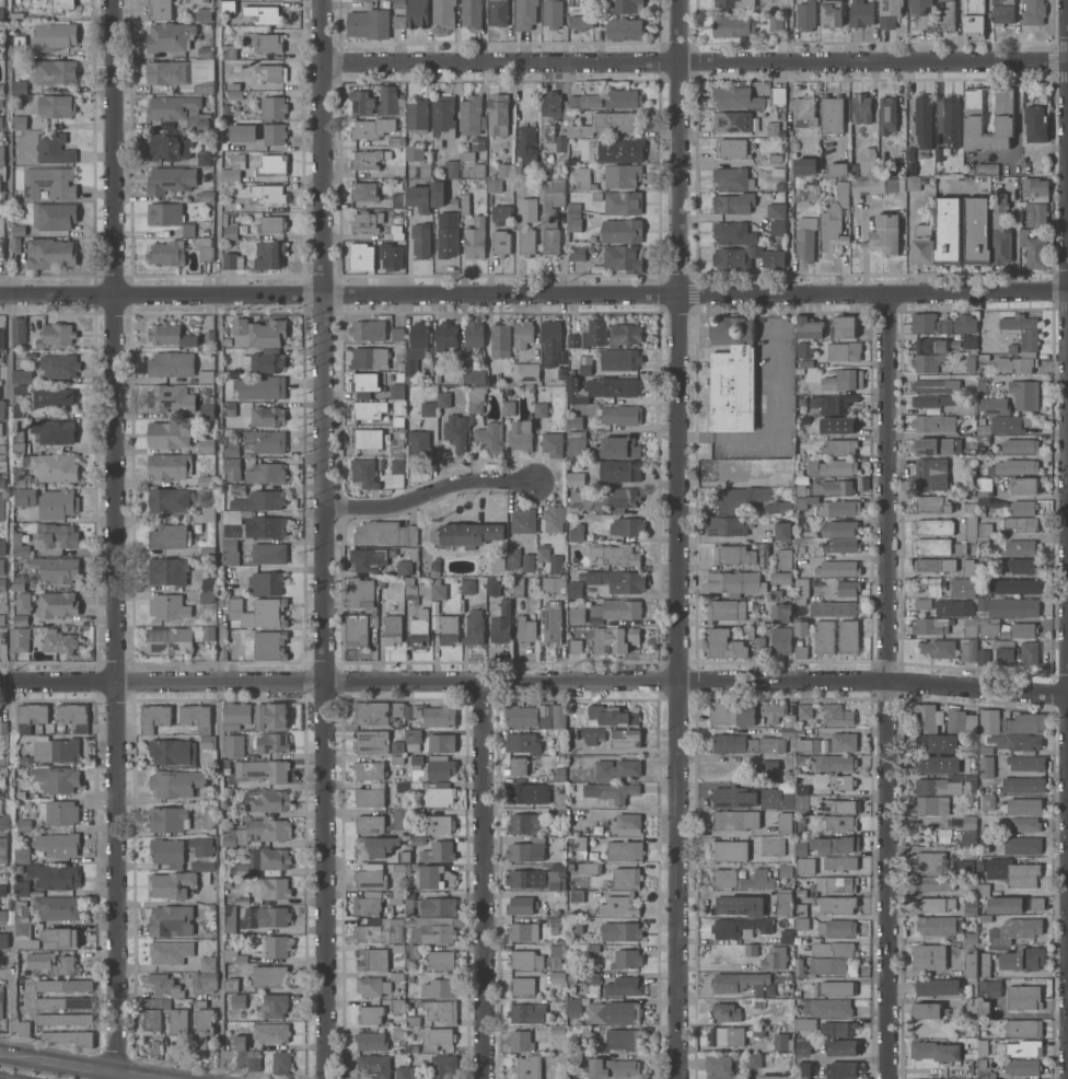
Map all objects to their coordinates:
building: (399, 2)
building: (577, 3)
building: (735, 3)
building: (62, 4)
building: (229, 5)
building: (625, 5)
building: (161, 10)
building: (499, 12)
building: (890, 12)
building: (922, 12)
building: (1003, 12)
building: (1034, 12)
building: (418, 13)
building: (444, 13)
building: (472, 13)
building: (554, 13)
building: (832, 13)
building: (862, 13)
building: (2, 14)
building: (204, 14)
building: (265, 14)
building: (526, 14)
building: (806, 15)
building: (947, 15)
building: (19, 16)
building: (975, 18)
building: (399, 21)
building: (581, 21)
building: (776, 21)
building: (369, 23)
building: (733, 25)
building: (625, 28)
building: (56, 35)
building: (171, 36)
building: (264, 42)
building: (20, 46)
building: (205, 49)
building: (230, 51)
road: (695, 62)
building: (271, 72)
building: (56, 73)
building: (182, 73)
building: (20, 86)
building: (234, 86)
building: (2, 89)
building: (235, 95)
building: (778, 95)
building: (736, 97)
building: (623, 98)
building: (391, 101)
building: (585, 101)
building: (362, 102)
building: (57, 106)
building: (274, 107)
building: (862, 108)
building: (806, 109)
building: (179, 111)
building: (952, 113)
building: (471, 114)
building: (498, 114)
building: (552, 114)
building: (833, 115)
building: (887, 115)
building: (924, 115)
building: (417, 116)
building: (444, 119)
building: (20, 121)
building: (617, 121)
building: (733, 121)
building: (1005, 121)
building: (1, 123)
building: (1036, 124)
building: (774, 128)
building: (364, 129)
building: (581, 130)
building: (244, 132)
building: (275, 134)
building: (397, 141)
building: (561, 143)
road: (218, 146)
building: (224, 146)
road: (788, 146)
building: (169, 147)
building: (54, 148)
building: (527, 148)
building: (733, 148)
building: (901, 153)
building: (910, 153)
building: (939, 154)
building: (2, 155)
building: (468, 155)
building: (205, 158)
building: (777, 158)
building: (369, 159)
building: (868, 160)
building: (417, 162)
building: (272, 165)
building: (452, 167)
building: (234, 169)
building: (834, 169)
building: (475, 170)
building: (506, 170)
building: (797, 170)
building: (855, 170)
building: (987, 170)
building: (778, 171)
building: (623, 175)
building: (733, 178)
building: (171, 179)
building: (583, 179)
building: (50, 183)
building: (914, 183)
building: (0, 184)
building: (414, 185)
building: (495, 185)
building: (520, 185)
building: (779, 185)
building: (875, 185)
building: (1036, 188)
building: (364, 190)
building: (270, 193)
building: (438, 193)
building: (205, 196)
building: (597, 196)
building: (419, 197)
building: (398, 200)
building: (624, 202)
building: (734, 202)
building: (454, 204)
building: (465, 204)
building: (18, 207)
building: (574, 210)
building: (777, 210)
building: (501, 213)
building: (1038, 213)
building: (55, 216)
building: (169, 216)
building: (552, 216)
building: (367, 221)
building: (835, 221)
building: (271, 223)
building: (574, 224)
building: (524, 225)
building: (777, 228)
building: (949, 230)
building: (977, 230)
building: (1001, 230)
building: (20, 231)
building: (623, 231)
building: (231, 232)
building: (398, 232)
building: (734, 233)
building: (448, 234)
building: (885, 234)
building: (421, 236)
building: (476, 239)
building: (501, 242)
building: (924, 244)
building: (18, 245)
building: (806, 245)
building: (207, 248)
building: (1035, 250)
building: (51, 253)
building: (166, 253)
building: (579, 253)
building: (269, 254)
building: (390, 255)
building: (624, 258)
building: (747, 258)
building: (233, 260)
road: (534, 293)
building: (922, 322)
building: (965, 324)
building: (846, 326)
building: (943, 326)
building: (810, 327)
building: (369, 329)
building: (1023, 329)
building: (597, 330)
building: (20, 332)
building: (259, 333)
building: (398, 333)
building: (627, 333)
building: (56, 334)
building: (475, 334)
building: (523, 334)
building: (172, 335)
building: (446, 335)
building: (210, 337)
building: (2, 338)
building: (418, 339)
building: (500, 339)
road: (8, 340)
building: (576, 340)
building: (552, 341)
building: (970, 341)
building: (925, 345)
building: (941, 345)
building: (1013, 348)
building: (804, 349)
building: (845, 351)
building: (370, 358)
building: (985, 358)
building: (464, 359)
building: (622, 359)
building: (266, 361)
building: (437, 363)
building: (804, 363)
building: (926, 363)
building: (971, 363)
building: (1018, 363)
building: (172, 364)
building: (59, 368)
building: (585, 369)
building: (411, 370)
building: (800, 370)
building: (235, 371)
building: (526, 372)
building: (562, 372)
building: (733, 374)
building: (23, 376)
building: (207, 376)
building: (400, 376)
building: (475, 376)
building: (845, 380)
building: (367, 382)
building: (989, 384)
building: (936, 385)
building: (262, 387)
building: (603, 388)
building: (22, 390)
building: (397, 391)
building: (1024, 394)
building: (542, 395)
building: (53, 396)
building: (169, 397)
building: (477, 398)
building: (444, 399)
building: (932, 401)
building: (402, 403)
building: (835, 403)
building: (994, 405)
building: (208, 407)
building: (509, 407)
building: (229, 408)
building: (429, 408)
building: (967, 408)
building: (2, 409)
building: (369, 409)
building: (542, 409)
building: (19, 411)
building: (620, 415)
building: (268, 416)
building: (398, 422)
building: (576, 422)
building: (934, 422)
building: (1014, 422)
building: (837, 425)
building: (1, 429)
building: (982, 430)
building: (55, 431)
building: (456, 432)
building: (170, 433)
building: (521, 436)
building: (368, 438)
building: (489, 438)
building: (19, 440)
building: (985, 440)
building: (257, 442)
building: (420, 442)
building: (554, 443)
building: (207, 444)
building: (578, 445)
building: (941, 445)
building: (1020, 445)
building: (839, 446)
building: (2, 448)
building: (618, 448)
building: (397, 450)
building: (2, 457)
building: (1014, 464)
building: (170, 465)
building: (397, 465)
building: (54, 467)
building: (833, 467)
building: (254, 469)
building: (620, 471)
building: (729, 471)
building: (800, 472)
building: (364, 473)
building: (931, 473)
building: (577, 478)
building: (782, 478)
building: (22, 480)
building: (205, 480)
building: (3, 482)
building: (1024, 485)
building: (835, 487)
building: (985, 487)
building: (239, 489)
building: (386, 490)
building: (207, 491)
road: (427, 494)
building: (25, 497)
building: (622, 497)
building: (171, 499)
building: (260, 500)
building: (747, 500)
building: (808, 500)
building: (579, 501)
building: (58, 503)
building: (931, 504)
building: (2, 506)
building: (839, 507)
building: (1024, 507)
building: (970, 509)
building: (206, 512)
building: (494, 518)
building: (554, 519)
building: (524, 521)
building: (232, 523)
building: (1021, 523)
building: (727, 525)
building: (266, 526)
building: (628, 526)
building: (933, 526)
building: (840, 527)
building: (972, 529)
building: (985, 529)
building: (783, 531)
building: (578, 532)
building: (801, 532)
building: (386, 533)
road: (114, 534)
building: (466, 534)
building: (57, 535)
building: (170, 535)
road: (723, 537)
road: (323, 538)
road: (676, 538)
building: (801, 539)
building: (985, 542)
building: (21, 545)
building: (841, 545)
building: (938, 546)
building: (2, 547)
building: (1020, 547)
building: (208, 550)
building: (231, 552)
building: (393, 552)
building: (270, 553)
building: (544, 554)
building: (617, 554)
building: (734, 554)
building: (514, 557)
building: (785, 557)
building: (368, 558)
building: (529, 561)
building: (498, 562)
building: (405, 565)
building: (934, 565)
building: (1023, 565)
building: (2, 566)
building: (436, 567)
building: (57, 568)
building: (839, 568)
building: (970, 569)
building: (169, 570)
building: (781, 578)
building: (617, 580)
building: (735, 581)
building: (266, 582)
building: (19, 583)
building: (208, 583)
building: (3, 584)
building: (555, 584)
building: (1018, 585)
building: (469, 587)
building: (494, 587)
building: (519, 587)
building: (963, 587)
building: (848, 588)
building: (439, 589)
building: (574, 589)
building: (417, 590)
building: (802, 590)
building: (776, 592)
building: (984, 592)
building: (361, 593)
building: (207, 596)
building: (975, 600)
building: (23, 602)
building: (922, 603)
building: (983, 603)
building: (58, 604)
building: (169, 606)
building: (954, 607)
building: (1014, 607)
building: (618, 608)
building: (835, 608)
building: (728, 610)
building: (781, 612)
building: (258, 613)
building: (578, 613)
building: (2, 618)
building: (21, 619)
building: (374, 619)
building: (501, 622)
building: (552, 623)
building: (931, 625)
building: (803, 626)
building: (420, 627)
building: (971, 627)
building: (449, 628)
building: (475, 628)
building: (1025, 628)
building: (393, 629)
building: (526, 629)
building: (358, 630)
building: (750, 630)
building: (232, 631)
building: (824, 636)
building: (849, 636)
building: (22, 638)
building: (179, 638)
building: (615, 639)
building: (781, 640)
building: (60, 641)
building: (725, 645)
building: (761, 645)
building: (270, 646)
building: (576, 646)
building: (939, 648)
building: (970, 650)
building: (802, 651)
building: (1017, 652)
building: (984, 657)
road: (534, 682)
road: (885, 685)
building: (398, 707)
building: (774, 711)
building: (805, 711)
building: (372, 712)
building: (432, 713)
building: (735, 713)
building: (278, 715)
building: (559, 715)
building: (614, 715)
building: (837, 715)
building: (32, 716)
building: (74, 716)
building: (237, 716)
building: (526, 716)
building: (154, 717)
building: (197, 717)
building: (927, 718)
building: (260, 719)
building: (790, 720)
building: (962, 721)
building: (990, 721)
building: (1022, 723)
building: (3, 727)
building: (789, 731)
building: (800, 731)
building: (593, 735)
building: (627, 736)
building: (414, 739)
building: (372, 741)
building: (208, 742)
building: (274, 742)
building: (442, 742)
building: (843, 742)
building: (938, 742)
building: (1018, 742)
building: (522, 743)
building: (732, 743)
building: (771, 744)
building: (803, 744)
building: (235, 745)
building: (397, 746)
building: (56, 749)
building: (561, 750)
building: (987, 750)
building: (173, 752)
building: (397, 759)
building: (418, 759)
building: (839, 762)
building: (1028, 763)
building: (940, 764)
building: (518, 765)
building: (769, 766)
building: (617, 767)
building: (987, 767)
building: (371, 769)
building: (439, 769)
building: (264, 770)
building: (560, 775)
building: (58, 778)
building: (843, 781)
building: (177, 782)
building: (1024, 784)
building: (227, 785)
building: (418, 786)
building: (788, 786)
building: (937, 786)
building: (404, 787)
building: (802, 789)
building: (612, 791)
building: (2, 792)
building: (529, 793)
building: (441, 794)
building: (839, 794)
building: (371, 796)
building: (208, 797)
building: (733, 797)
building: (776, 798)
building: (269, 800)
building: (560, 800)
building: (988, 802)
building: (802, 804)
building: (1, 805)
building: (840, 805)
building: (930, 805)
building: (1024, 805)
building: (231, 809)
building: (370, 811)
building: (59, 812)
building: (417, 812)
building: (559, 812)
building: (209, 815)
building: (170, 819)
building: (735, 820)
building: (3, 821)
building: (383, 822)
building: (786, 822)
building: (524, 823)
building: (840, 823)
building: (1025, 823)
building: (24, 824)
building: (441, 824)
building: (627, 824)
building: (971, 825)
building: (421, 829)
building: (259, 832)
building: (943, 835)
building: (418, 840)
building: (971, 840)
building: (59, 844)
building: (835, 844)
building: (1023, 845)
building: (202, 846)
building: (376, 846)
building: (773, 846)
building: (580, 847)
building: (802, 848)
building: (527, 849)
building: (3, 850)
building: (167, 850)
building: (626, 850)
building: (730, 850)
building: (439, 851)
building: (971, 851)
building: (23, 855)
building: (404, 856)
building: (275, 858)
building: (840, 862)
building: (931, 862)
building: (204, 865)
building: (806, 866)
building: (399, 867)
building: (410, 867)
building: (559, 867)
building: (966, 867)
building: (589, 868)
building: (243, 870)
building: (787, 870)
building: (1014, 872)
building: (562, 874)
building: (55, 875)
building: (436, 877)
building: (207, 878)
building: (527, 878)
building: (627, 878)
building: (371, 879)
building: (743, 879)
road: (218, 880)
road: (478, 880)
building: (838, 883)
building: (936, 883)
building: (173, 884)
building: (557, 885)
building: (276, 887)
building: (2, 889)
building: (23, 889)
building: (984, 890)
building: (971, 891)
building: (801, 892)
building: (577, 895)
building: (0, 897)
building: (397, 897)
building: (243, 900)
building: (786, 902)
building: (369, 903)
building: (618, 904)
building: (937, 904)
building: (1015, 904)
building: (522, 905)
building: (740, 905)
building: (836, 905)
building: (971, 905)
building: (409, 906)
building: (438, 906)
building: (57, 907)
building: (801, 910)
building: (557, 913)
building: (23, 914)
building: (3, 915)
building: (274, 916)
building: (249, 917)
building: (986, 917)
building: (172, 919)
building: (230, 919)
building: (411, 923)
building: (802, 923)
building: (557, 924)
building: (940, 925)
building: (576, 926)
building: (740, 926)
building: (837, 927)
building: (1018, 929)
building: (381, 930)
building: (441, 931)
building: (524, 931)
building: (622, 931)
building: (787, 936)
building: (25, 937)
building: (61, 937)
building: (971, 938)
building: (579, 939)
building: (3, 940)
building: (278, 945)
building: (593, 948)
building: (398, 949)
building: (834, 949)
building: (752, 950)
building: (170, 951)
building: (413, 954)
building: (557, 954)
building: (929, 956)
building: (236, 958)
building: (775, 958)
building: (373, 959)
building: (441, 959)
building: (522, 959)
building: (627, 959)
building: (1023, 959)
building: (40, 960)
building: (208, 963)
building: (973, 964)
building: (985, 964)
building: (66, 965)
building: (831, 965)
building: (799, 966)
building: (49, 973)
building: (270, 975)
building: (398, 976)
building: (558, 981)
building: (738, 981)
building: (204, 982)
building: (593, 982)
building: (231, 984)
building: (65, 985)
building: (164, 985)
building: (522, 985)
building: (625, 985)
building: (373, 986)
building: (440, 986)
building: (938, 986)
road: (10, 988)
building: (837, 988)
building: (544, 993)
building: (987, 996)
building: (1024, 997)
building: (1, 999)
building: (239, 1000)
building: (65, 1002)
building: (152, 1002)
building: (758, 1002)
building: (275, 1005)
building: (398, 1006)
building: (973, 1006)
building: (828, 1007)
building: (564, 1008)
building: (574, 1008)
building: (441, 1010)
building: (929, 1010)
building: (527, 1012)
building: (616, 1012)
building: (727, 1012)
building: (371, 1013)
building: (413, 1017)
building: (66, 1019)
building: (177, 1019)
building: (151, 1021)
building: (806, 1024)
building: (24, 1028)
building: (202, 1028)
building: (1024, 1028)
building: (838, 1029)
building: (558, 1030)
building: (398, 1032)
building: (759, 1032)
building: (271, 1033)
building: (727, 1035)
building: (70, 1036)
building: (439, 1037)
building: (624, 1039)
building: (371, 1040)
building: (521, 1040)
building: (240, 1042)
building: (782, 1042)
building: (968, 1042)
road: (48, 1043)
building: (804, 1046)
building: (843, 1047)
building: (1025, 1047)
building: (413, 1048)
building: (936, 1051)
road: (115, 1054)
building: (972, 1054)
road: (57, 1058)
building: (249, 1059)
building: (574, 1059)
building: (755, 1059)
building: (282, 1063)
building: (374, 1066)
building: (443, 1066)
building: (1022, 1066)
building: (527, 1067)
building: (721, 1067)
road: (207, 1068)
building: (613, 1068)
building: (804, 1069)
building: (843, 1069)
building: (983, 1069)
building: (403, 1072)
building: (417, 1072)
road: (144, 1074)
railway: (11, 1077)
building: (561, 1077)
building: (775, 1077)
building: (574, 1078)

